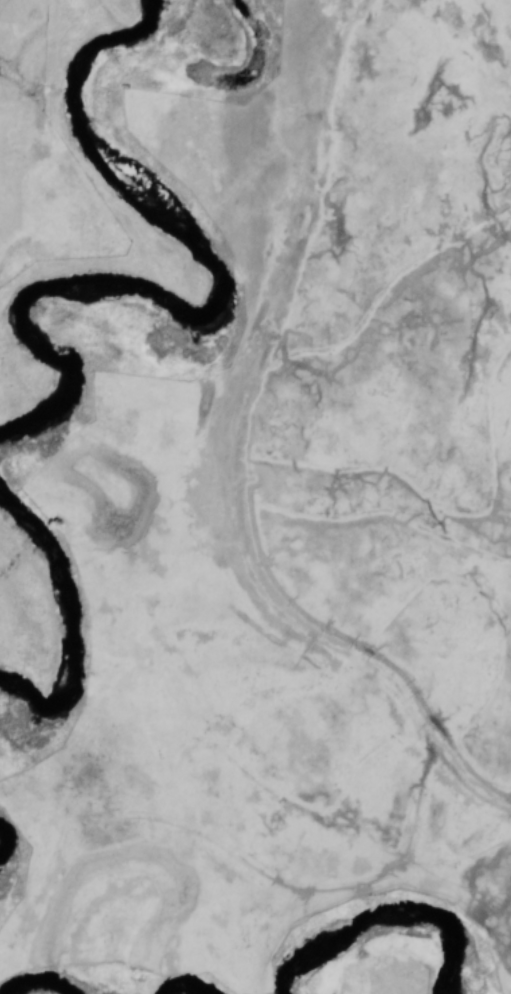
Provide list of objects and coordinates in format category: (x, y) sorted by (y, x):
river: (209, 306)
river: (59, 630)
river: (427, 925)
river: (307, 950)
river: (32, 988)
river: (171, 993)

